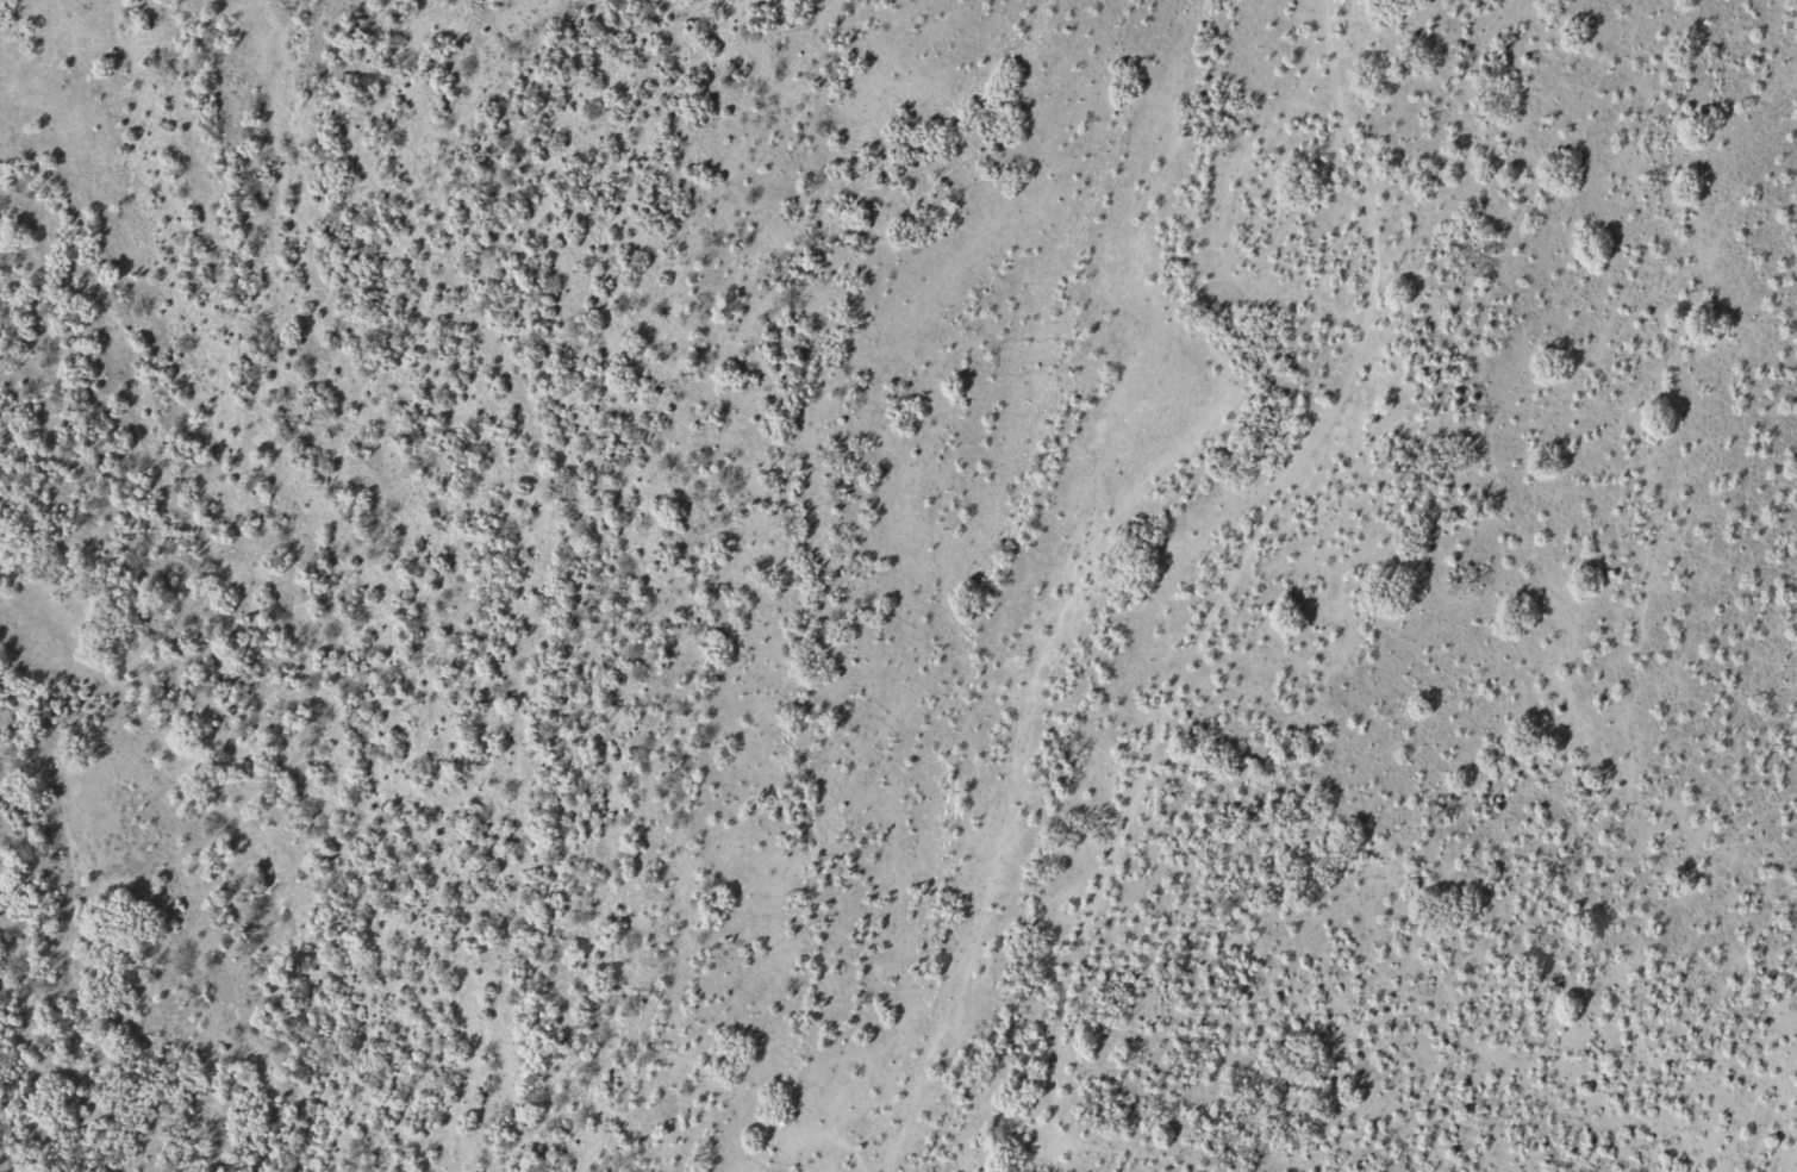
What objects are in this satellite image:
road: (1215, 588)
road: (212, 896)

